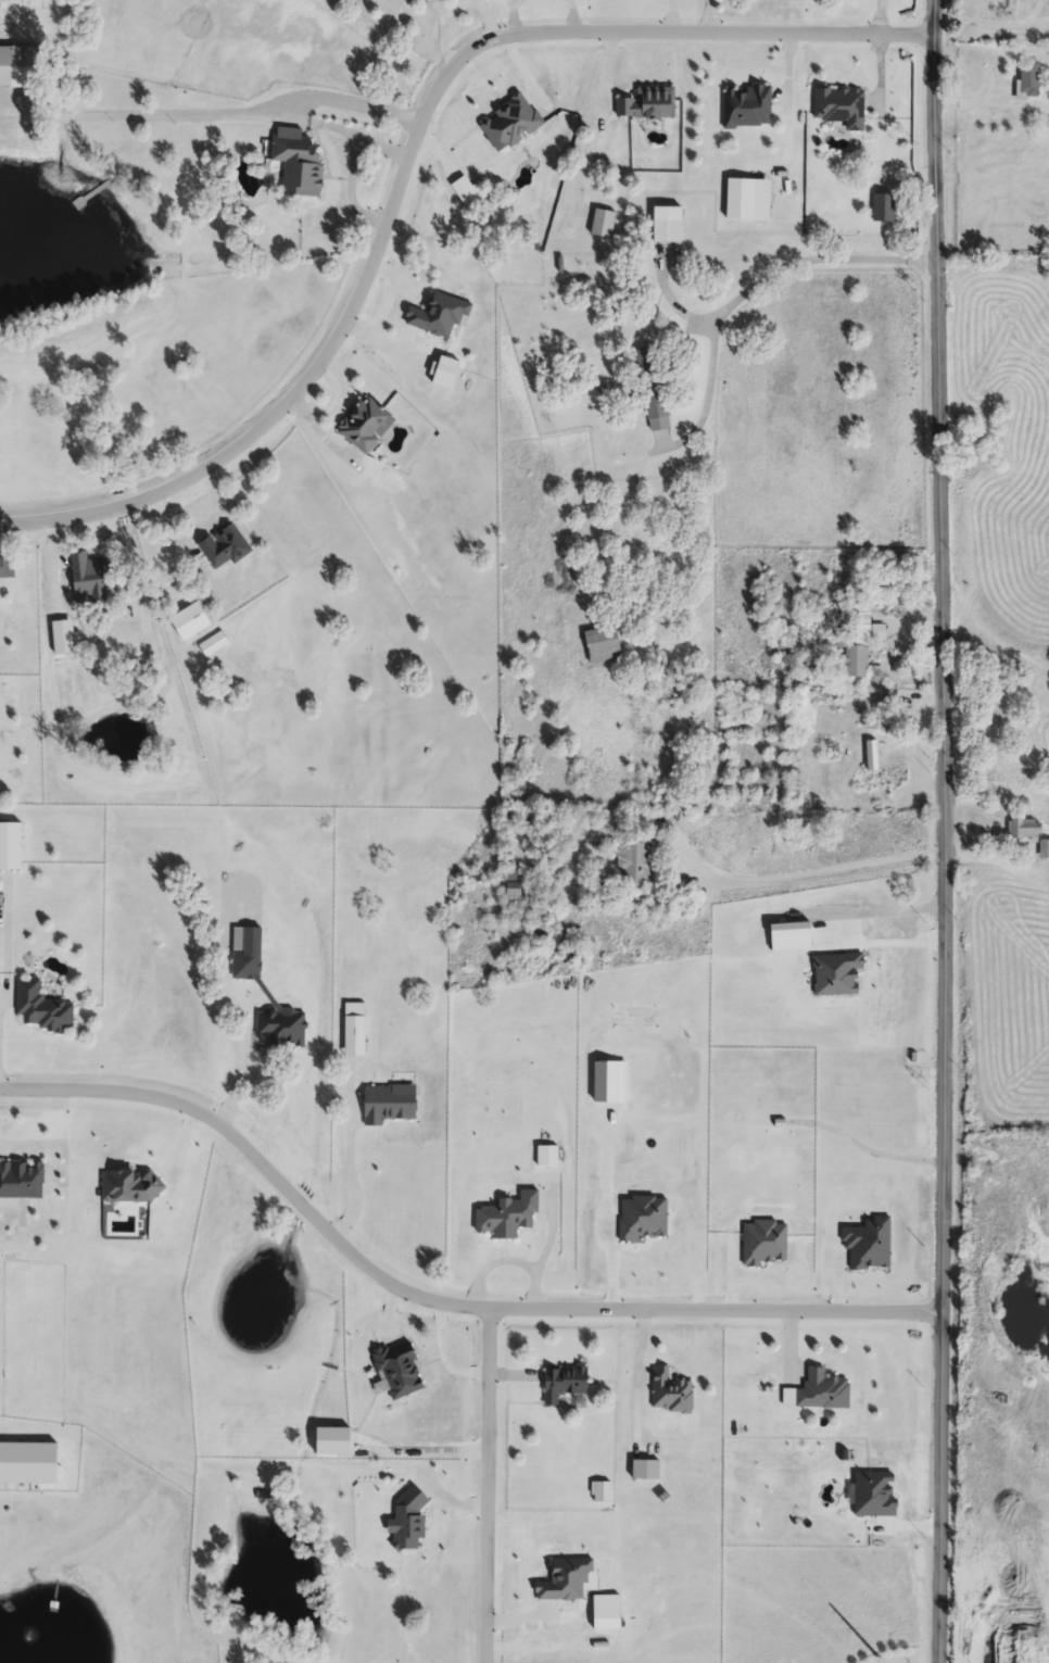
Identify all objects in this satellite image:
building: (406, 0)
road: (1033, 12)
road: (1037, 22)
road: (980, 25)
building: (18, 66)
building: (1029, 79)
building: (649, 104)
building: (839, 106)
building: (747, 108)
road: (213, 115)
road: (407, 160)
building: (299, 164)
building: (747, 200)
building: (884, 209)
building: (603, 224)
building: (667, 225)
road: (811, 260)
building: (655, 403)
building: (365, 426)
building: (224, 547)
building: (1, 568)
building: (213, 645)
building: (603, 646)
building: (855, 655)
building: (1024, 830)
road: (947, 831)
building: (11, 846)
building: (1045, 849)
building: (634, 861)
road: (808, 873)
building: (513, 887)
road: (881, 942)
building: (247, 955)
building: (41, 1008)
building: (282, 1029)
building: (355, 1030)
road: (241, 1080)
building: (747, 1101)
building: (389, 1106)
road: (352, 1159)
building: (508, 1217)
road: (438, 1305)
building: (564, 1384)
building: (822, 1393)
building: (670, 1394)
building: (645, 1472)
road: (486, 1491)
power tower: (877, 1656)

